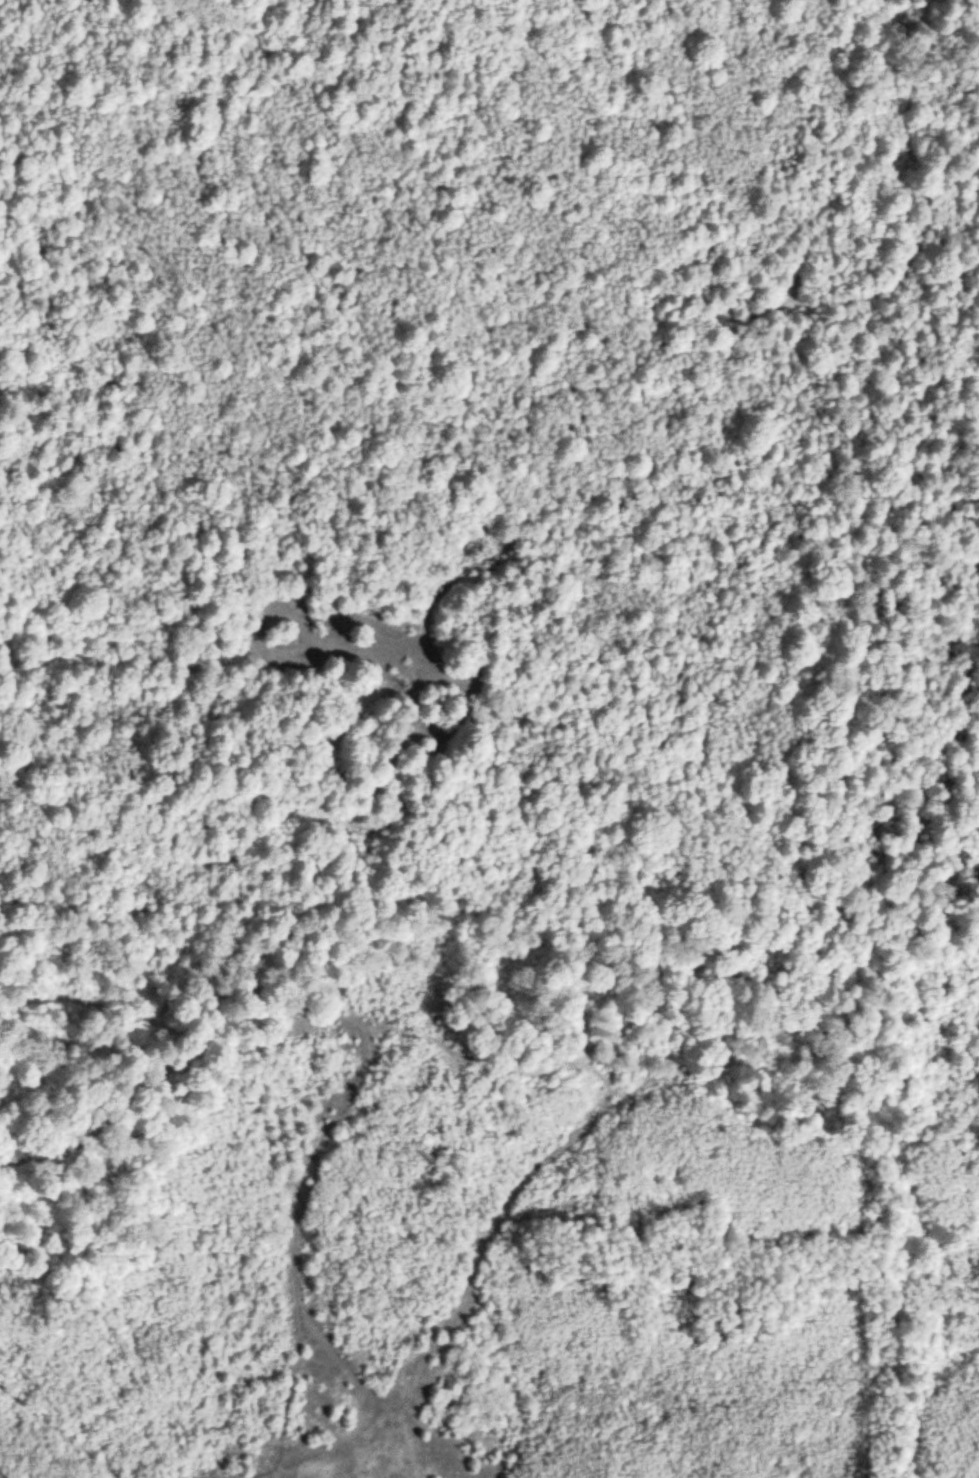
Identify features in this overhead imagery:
road: (163, 981)

